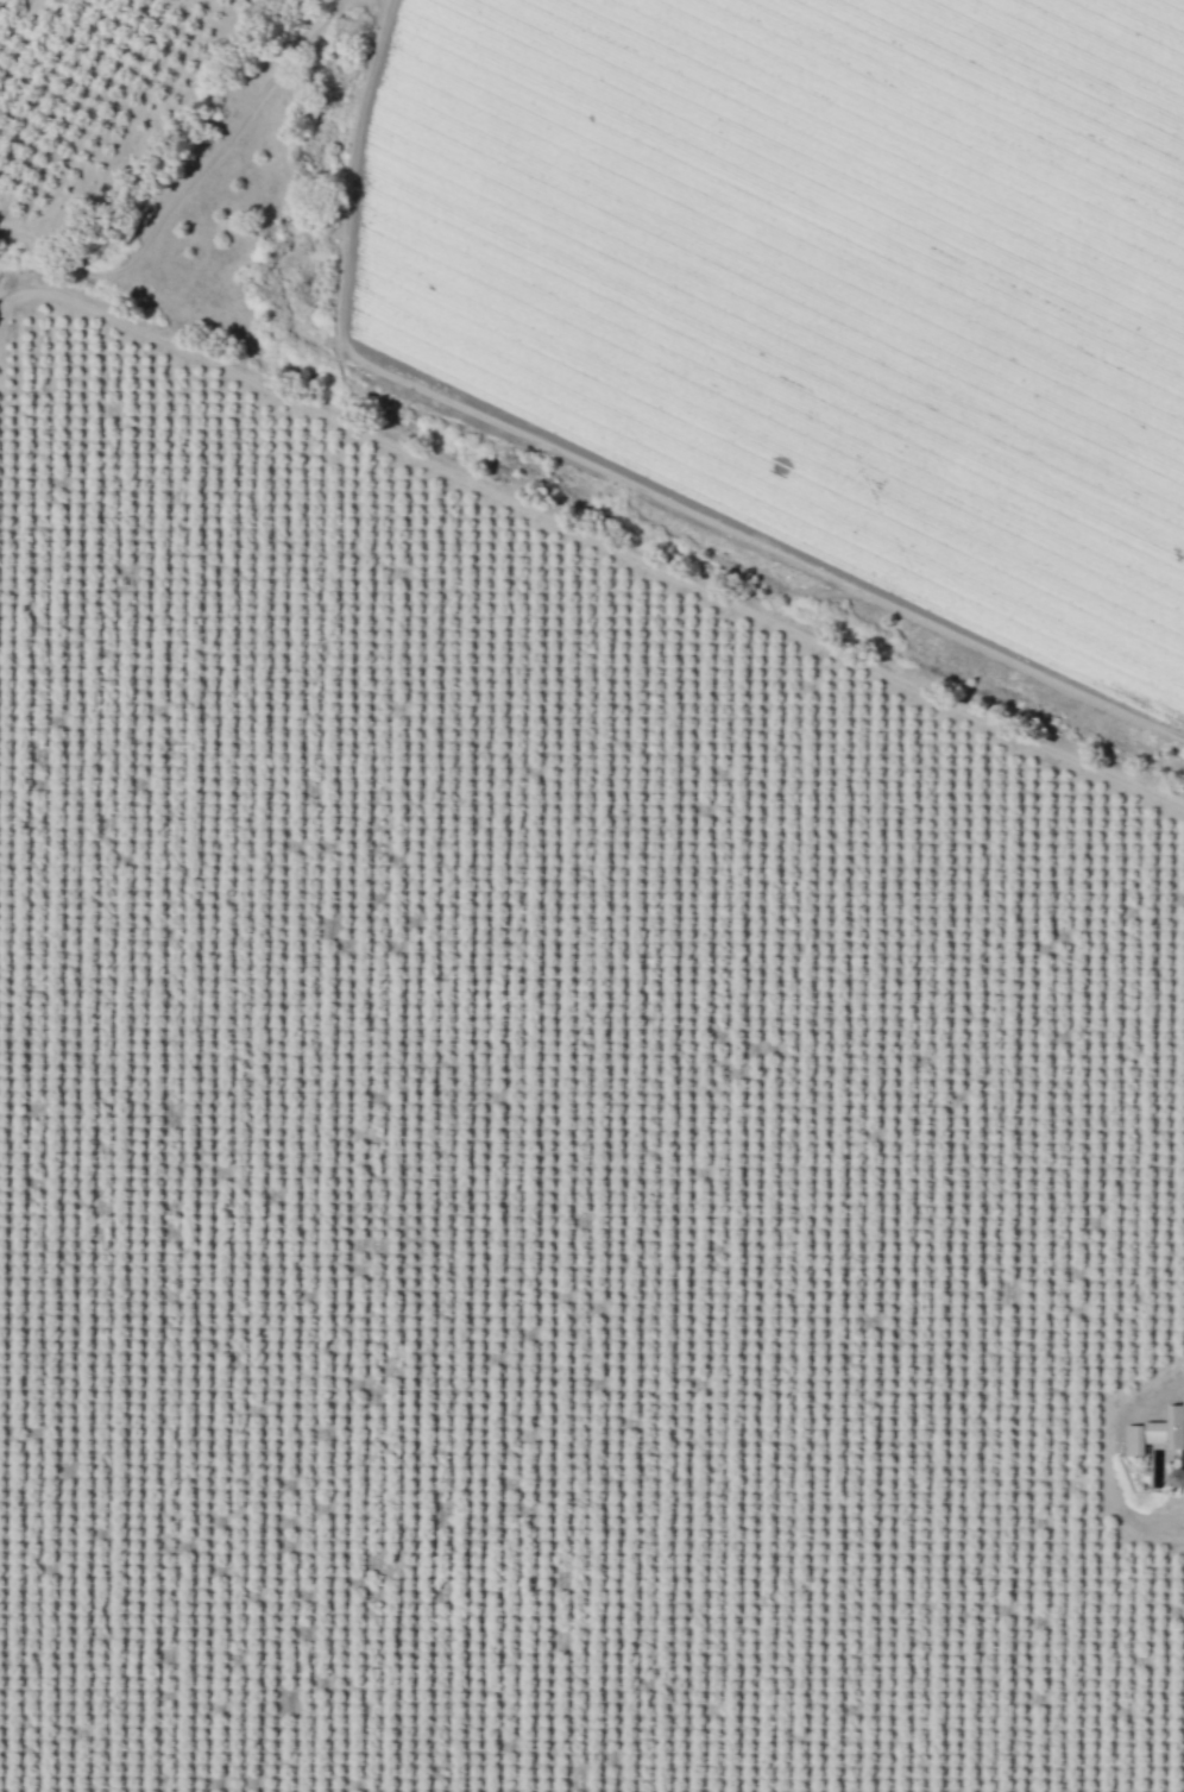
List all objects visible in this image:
building: (1157, 1433)

